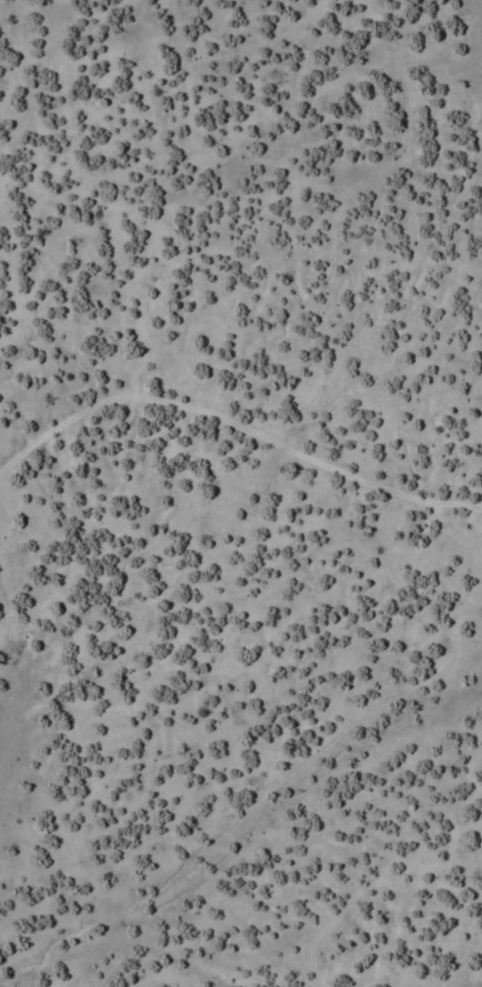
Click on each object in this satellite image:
road: (237, 443)

